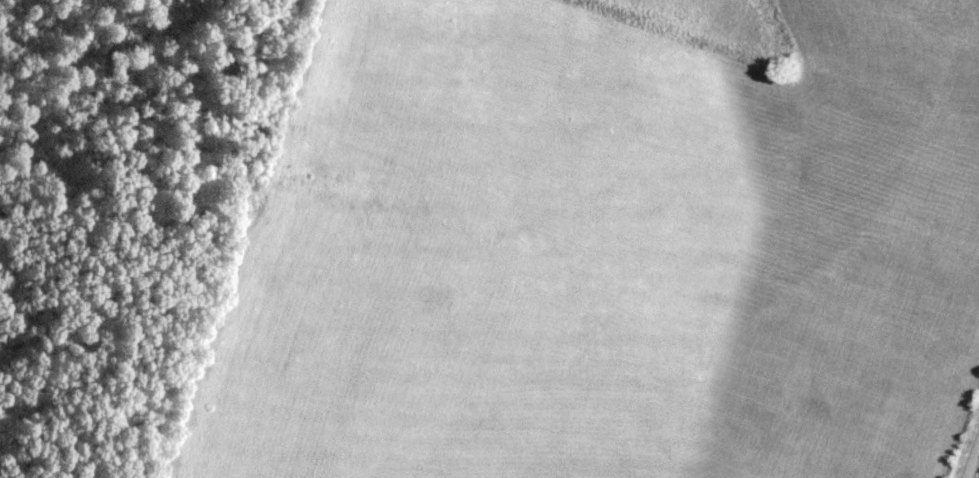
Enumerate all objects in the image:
road: (975, 469)

